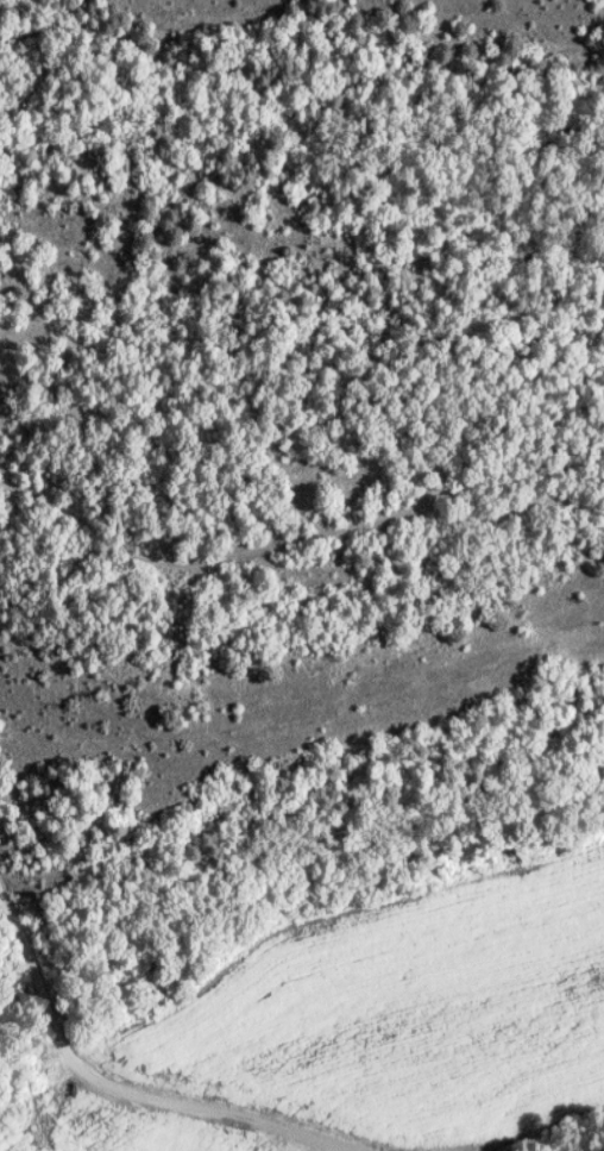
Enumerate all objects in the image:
road: (294, 537)

